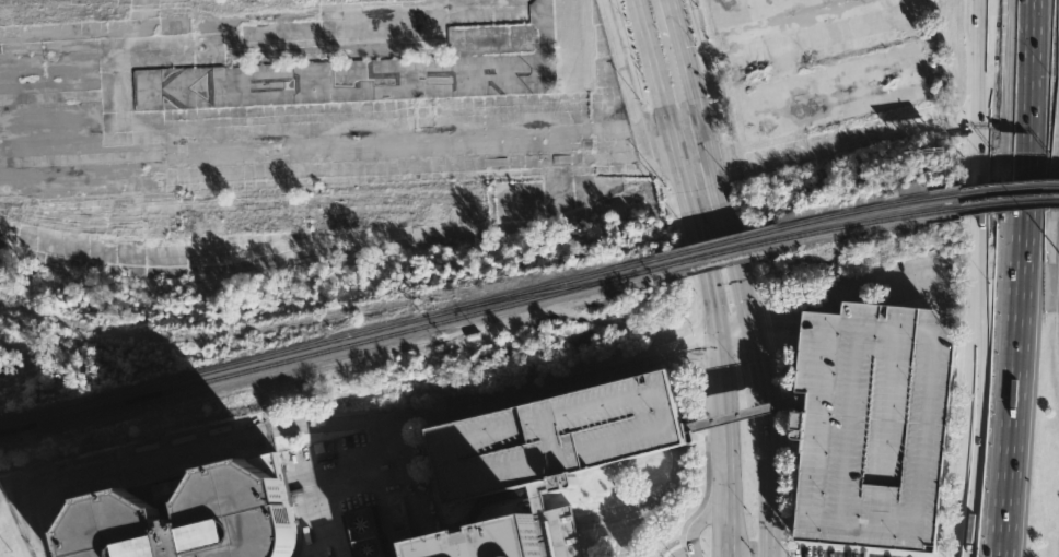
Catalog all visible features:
railway: (161, 7)
road: (668, 16)
road: (700, 36)
road: (695, 37)
road: (627, 56)
road: (631, 56)
road: (683, 64)
building: (344, 81)
road: (980, 131)
road: (675, 166)
railway: (1009, 190)
railway: (1009, 203)
railway: (866, 209)
road: (723, 213)
railway: (868, 222)
railway: (715, 244)
railway: (718, 252)
road: (1016, 278)
railway: (538, 292)
road: (773, 329)
road: (732, 333)
traffic signals: (750, 333)
traffic signals: (714, 334)
railway: (328, 340)
railway: (329, 348)
road: (547, 390)
road: (965, 410)
road: (977, 410)
road: (745, 415)
road: (350, 422)
building: (870, 425)
parking lot: (870, 425)
building: (554, 438)
parking lot: (554, 438)
parking lot: (547, 443)
road: (768, 443)
road: (726, 445)
road: (407, 466)
road: (316, 472)
building: (196, 517)
building: (366, 534)
building: (505, 540)

